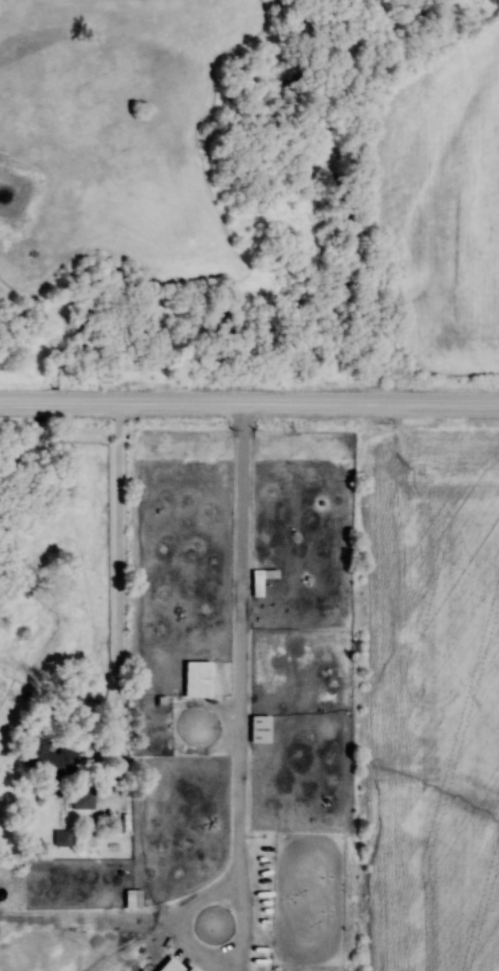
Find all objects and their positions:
road: (249, 404)
road: (119, 604)
road: (238, 755)
building: (49, 761)
building: (83, 799)

